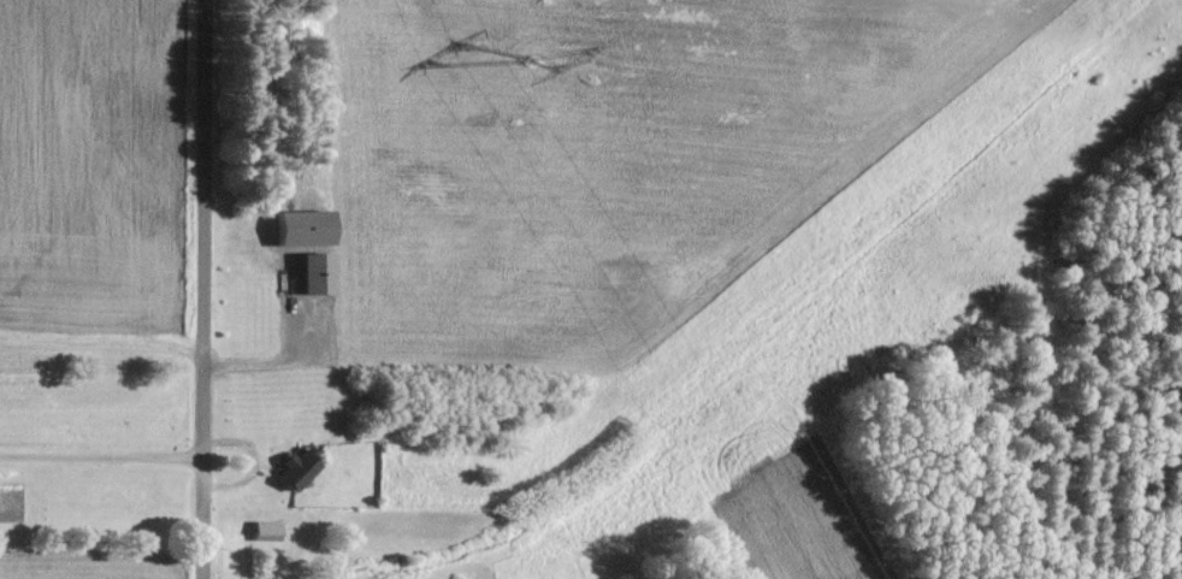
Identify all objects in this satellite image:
power tower: (533, 63)
building: (324, 273)
road: (203, 289)
road: (101, 460)
building: (306, 468)

